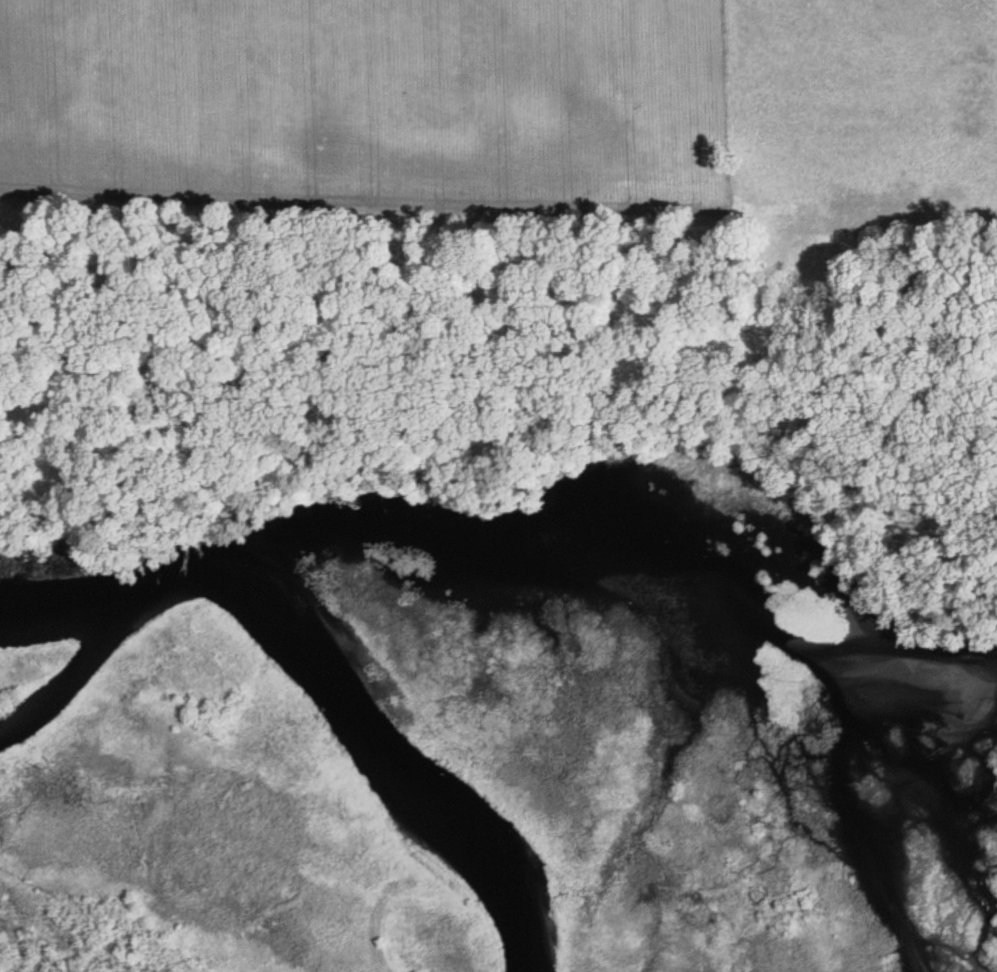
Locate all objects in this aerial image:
river: (323, 675)

